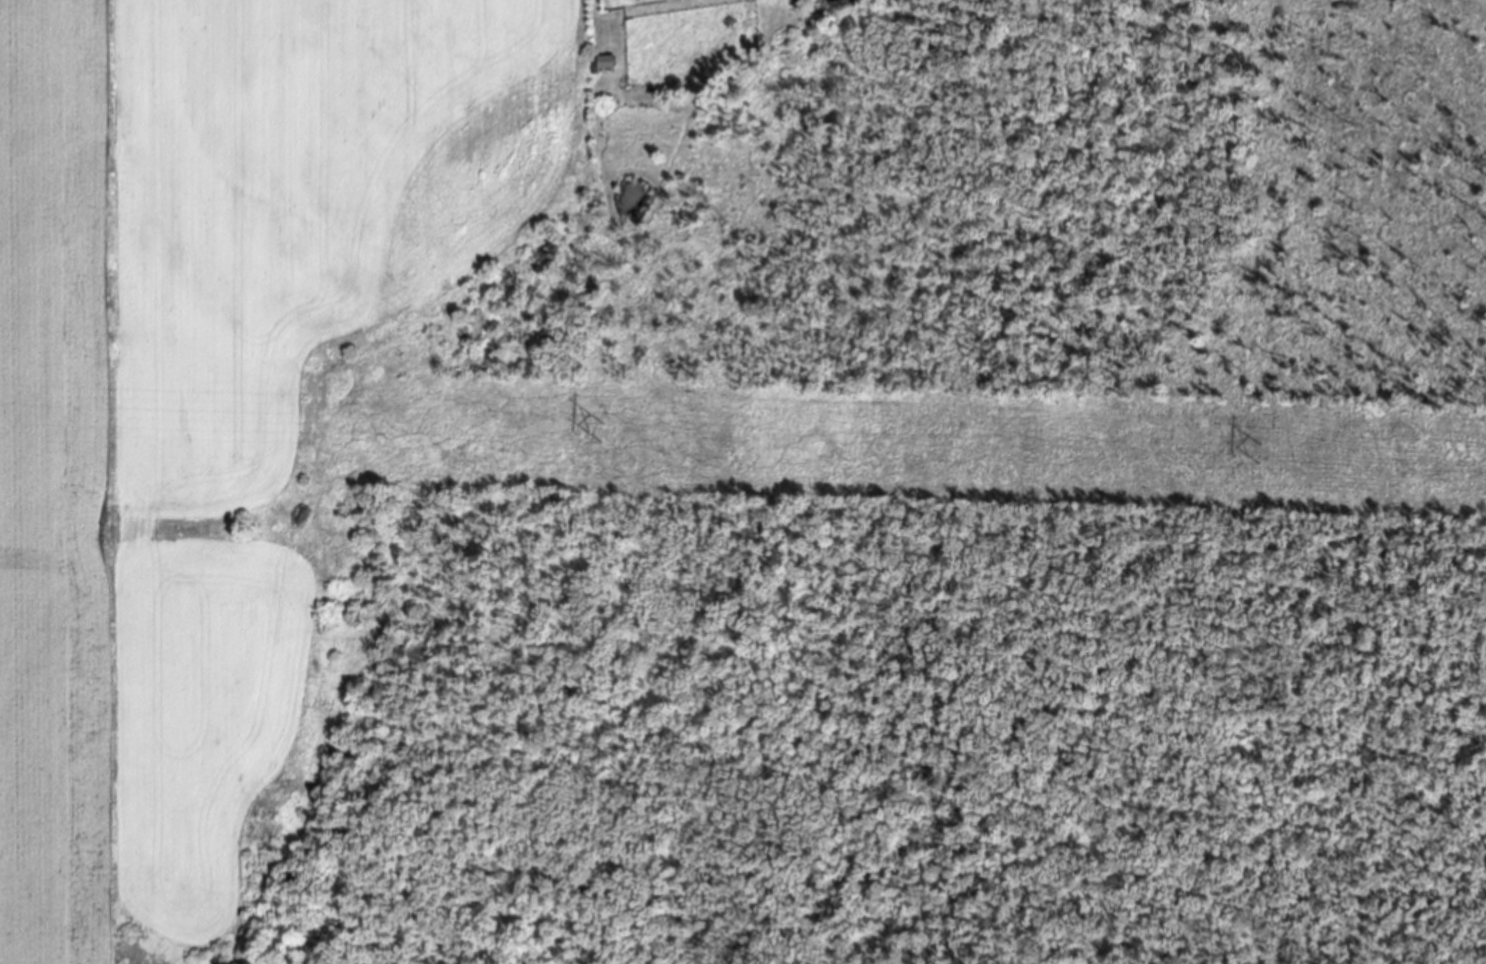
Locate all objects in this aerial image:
building: (603, 63)
power tower: (604, 433)
power tower: (1258, 456)

